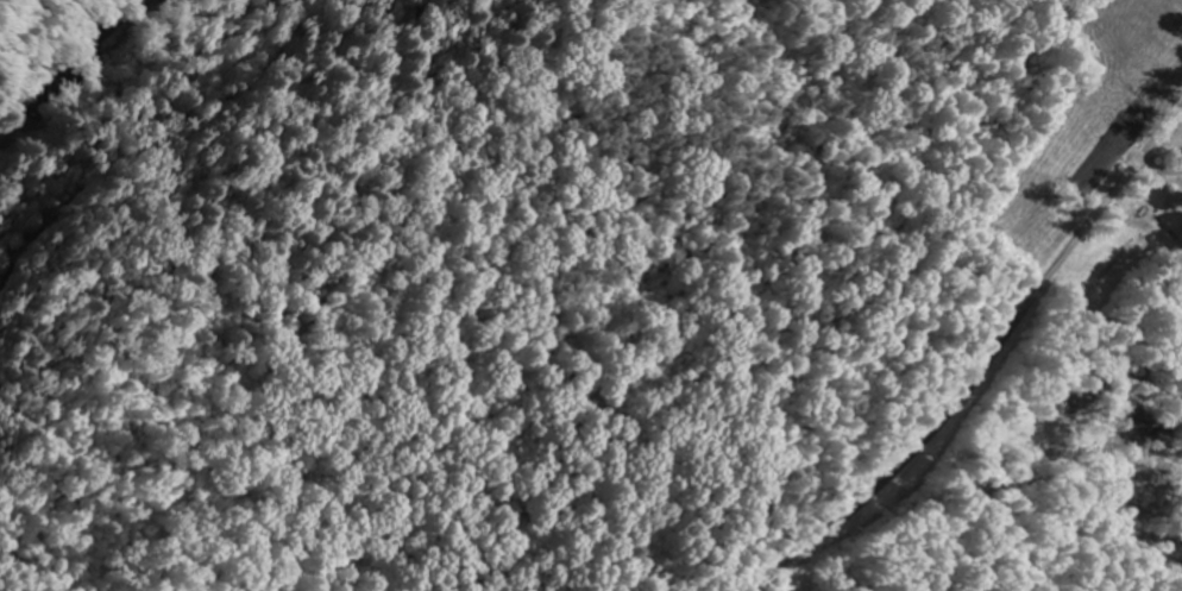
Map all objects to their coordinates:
road: (981, 367)

